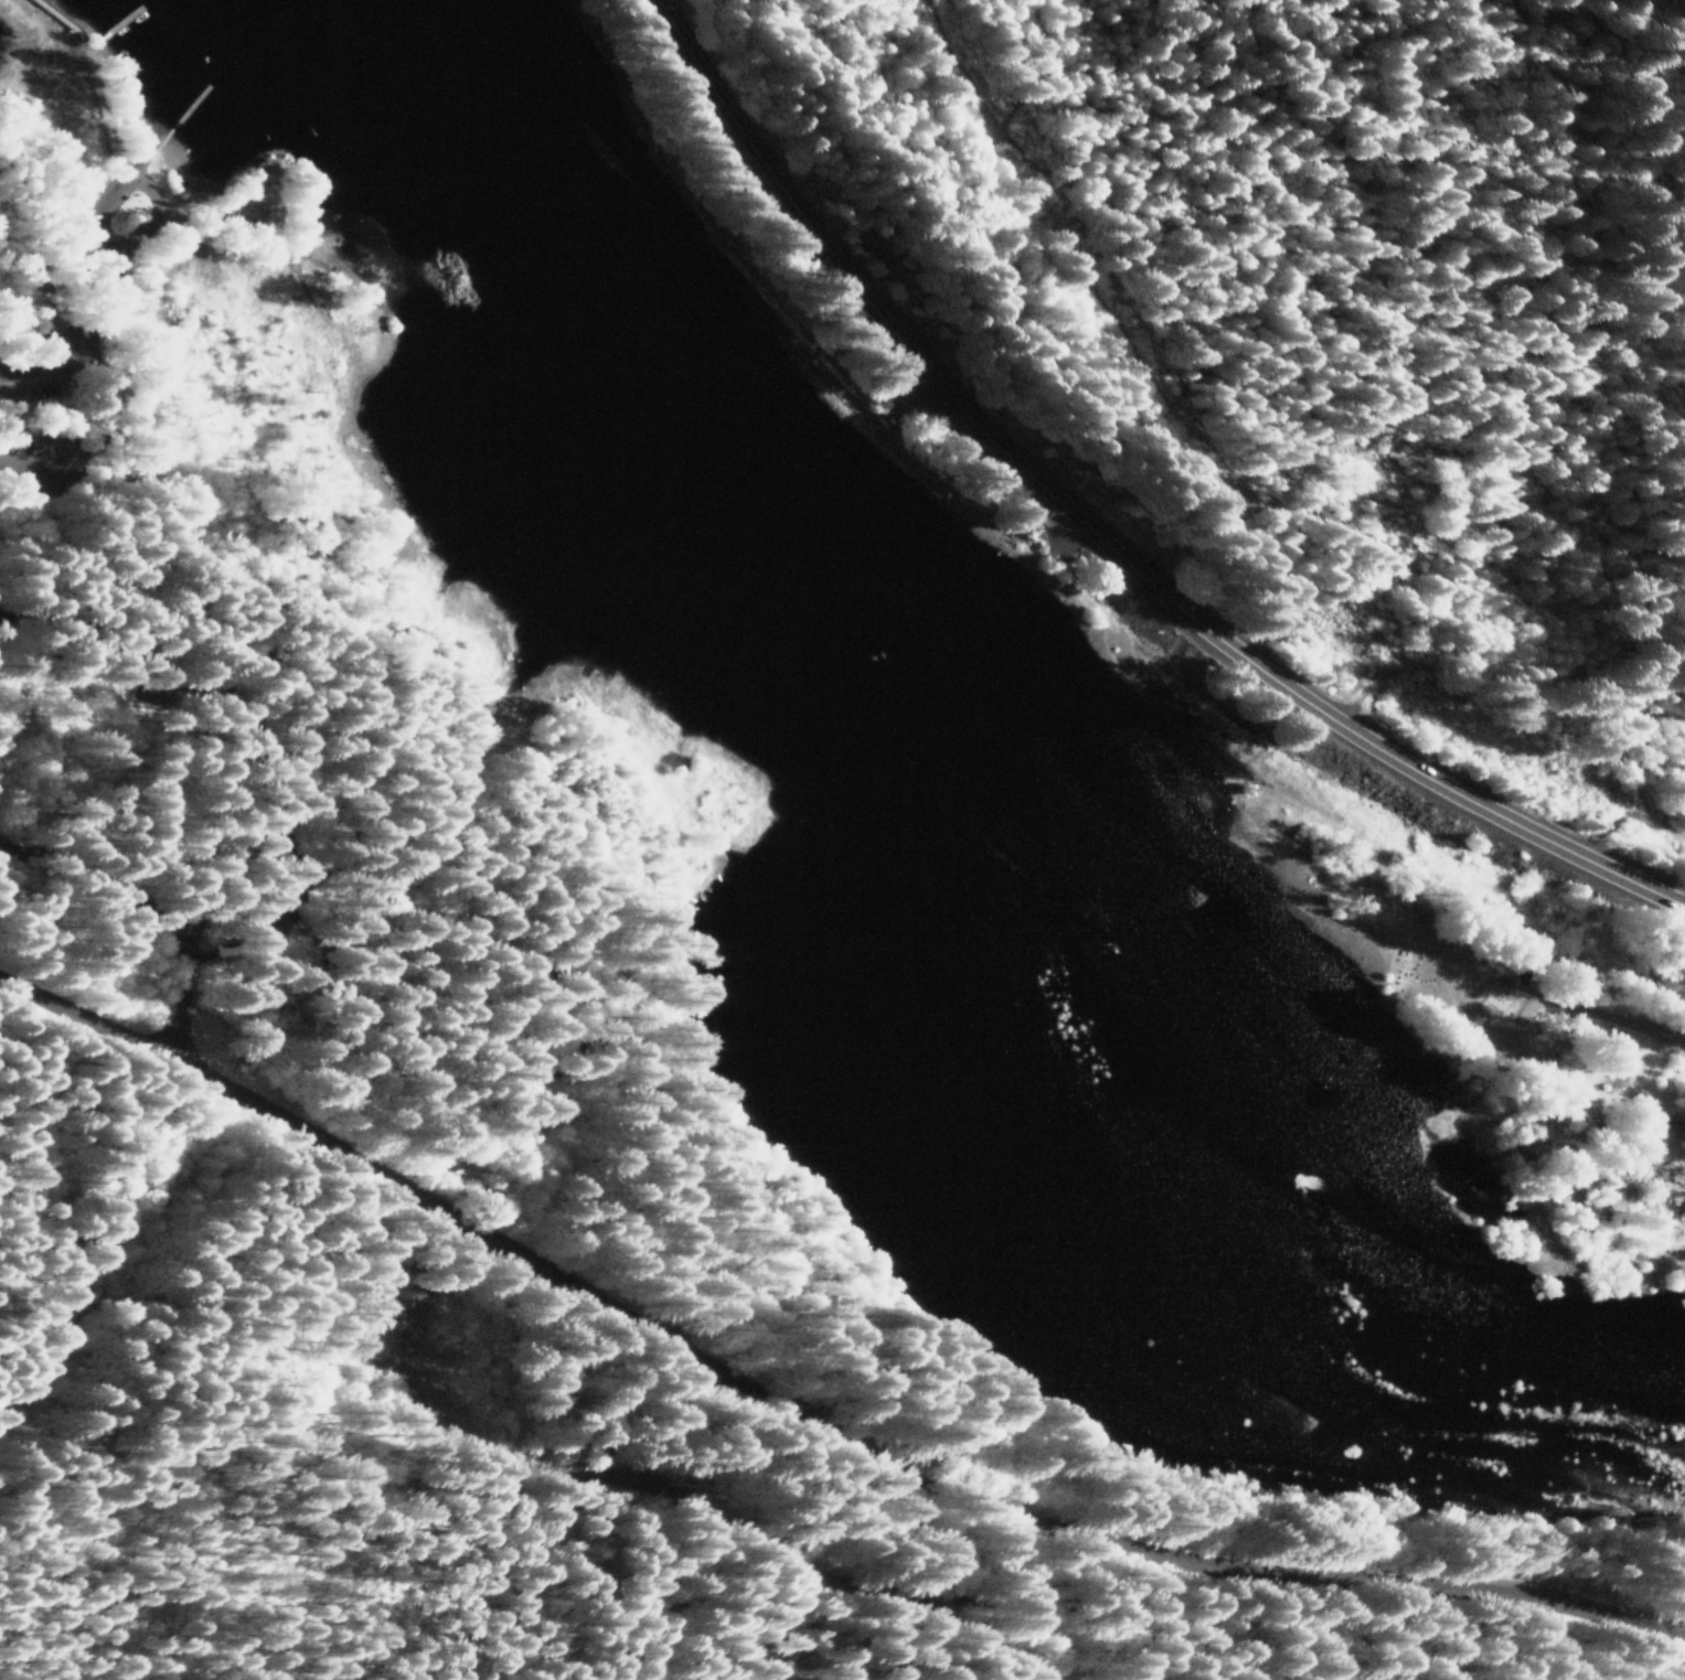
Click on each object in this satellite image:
pier: (113, 21)
pier: (194, 105)
road: (153, 214)
road: (111, 255)
parking lot: (35, 363)
road: (927, 378)
river: (672, 396)
road: (83, 415)
parking lot: (41, 462)
road: (1503, 662)
road: (253, 760)
road: (1478, 806)
road: (103, 874)
road: (296, 887)
road: (465, 977)
road: (1515, 989)
road: (1558, 1132)
river: (1249, 1134)
road: (800, 1426)
road: (661, 1507)

